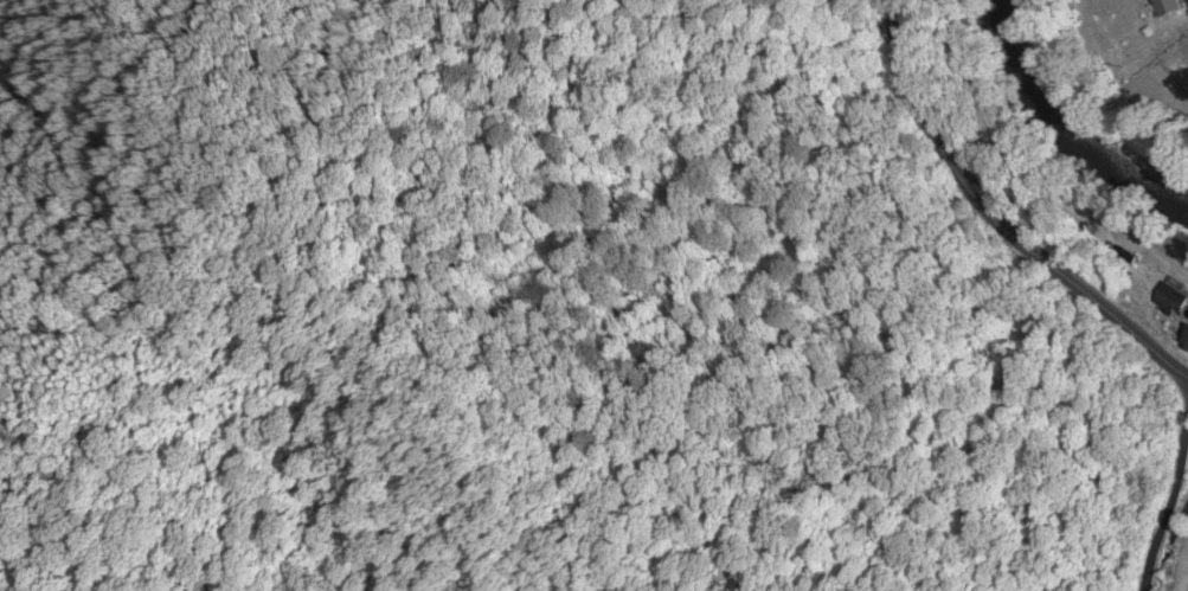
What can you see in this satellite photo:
building: (1167, 7)
river: (1054, 131)
road: (989, 224)
building: (1167, 300)
building: (1183, 339)
road: (1161, 502)

